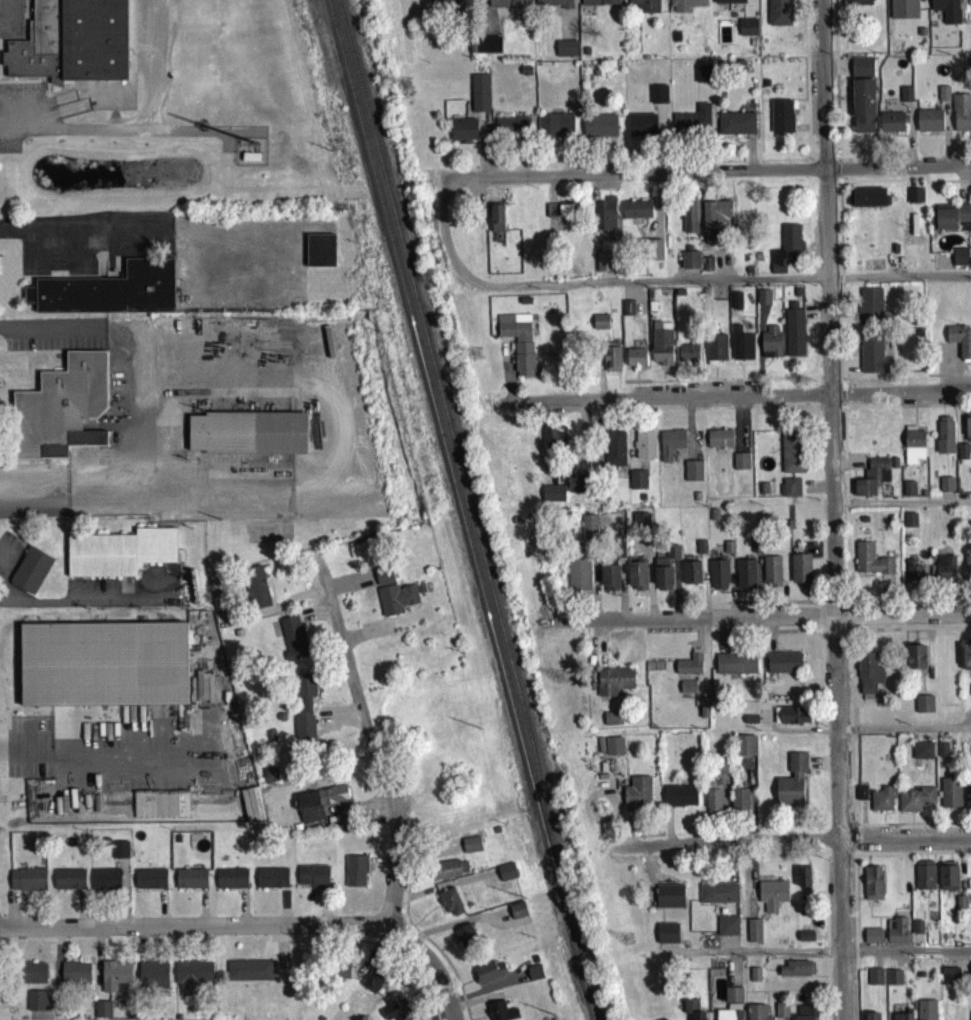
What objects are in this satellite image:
building: (728, 3)
building: (599, 4)
building: (856, 4)
building: (442, 5)
building: (553, 5)
building: (508, 6)
building: (645, 7)
building: (685, 7)
building: (903, 11)
building: (945, 12)
building: (778, 15)
road: (7, 17)
parking lot: (11, 20)
building: (747, 31)
building: (73, 45)
building: (488, 49)
building: (566, 53)
road: (157, 68)
building: (861, 70)
building: (703, 78)
power tower: (408, 81)
road: (835, 82)
road: (806, 84)
building: (479, 98)
building: (658, 98)
building: (905, 98)
building: (943, 98)
road: (54, 106)
building: (863, 111)
road: (16, 113)
building: (961, 117)
parking lot: (25, 120)
building: (781, 121)
building: (692, 125)
building: (928, 125)
building: (891, 126)
building: (735, 127)
road: (132, 128)
building: (553, 129)
building: (642, 129)
building: (511, 130)
building: (599, 130)
road: (132, 133)
building: (463, 134)
road: (173, 137)
power substation: (248, 155)
road: (824, 161)
road: (837, 162)
road: (264, 171)
road: (837, 174)
road: (712, 175)
road: (904, 182)
building: (914, 199)
building: (869, 201)
building: (636, 213)
building: (562, 217)
building: (605, 218)
building: (689, 220)
building: (717, 221)
building: (497, 222)
building: (952, 222)
road: (80, 232)
parking lot: (86, 245)
building: (786, 253)
building: (653, 254)
building: (320, 255)
building: (960, 261)
building: (690, 264)
building: (604, 265)
road: (59, 268)
road: (839, 275)
road: (898, 281)
road: (588, 287)
building: (109, 296)
building: (763, 301)
building: (736, 305)
building: (870, 309)
building: (628, 312)
building: (600, 326)
road: (49, 329)
building: (794, 336)
parking lot: (54, 339)
building: (518, 344)
building: (960, 344)
road: (57, 345)
building: (770, 345)
building: (661, 347)
building: (741, 348)
power tower: (479, 351)
building: (715, 351)
building: (688, 357)
building: (873, 359)
building: (612, 361)
building: (635, 362)
road: (598, 368)
road: (843, 370)
road: (952, 371)
road: (602, 379)
road: (610, 379)
road: (319, 380)
road: (948, 380)
road: (824, 383)
road: (721, 384)
road: (617, 385)
road: (619, 387)
road: (617, 396)
road: (617, 400)
road: (737, 400)
road: (842, 402)
road: (906, 410)
building: (60, 413)
railway: (450, 423)
building: (967, 431)
building: (248, 438)
building: (944, 439)
building: (555, 441)
building: (719, 443)
building: (670, 447)
building: (644, 449)
building: (913, 449)
building: (614, 453)
building: (791, 456)
building: (962, 456)
building: (740, 465)
building: (692, 475)
building: (872, 481)
building: (637, 484)
building: (580, 488)
building: (945, 489)
building: (790, 492)
building: (909, 493)
road: (79, 495)
building: (552, 497)
road: (845, 507)
road: (900, 507)
railway: (462, 509)
road: (831, 510)
building: (909, 524)
building: (640, 525)
building: (589, 531)
building: (755, 549)
building: (619, 551)
building: (701, 551)
building: (728, 552)
building: (355, 556)
building: (119, 557)
building: (870, 564)
parking lot: (10, 567)
building: (944, 571)
building: (966, 571)
building: (31, 574)
building: (665, 574)
building: (800, 574)
building: (911, 574)
building: (771, 575)
building: (691, 577)
building: (745, 578)
building: (383, 579)
building: (578, 579)
building: (719, 579)
building: (637, 580)
building: (609, 581)
road: (3, 586)
road: (350, 586)
parking lot: (128, 592)
building: (256, 592)
road: (705, 592)
building: (394, 603)
road: (87, 604)
road: (290, 604)
road: (906, 604)
road: (831, 606)
road: (765, 607)
road: (818, 607)
road: (707, 608)
road: (314, 618)
road: (758, 621)
road: (847, 621)
road: (814, 622)
road: (907, 633)
road: (814, 634)
road: (760, 636)
road: (832, 636)
road: (365, 637)
building: (292, 643)
road: (702, 660)
building: (915, 661)
building: (966, 661)
building: (783, 667)
building: (735, 668)
building: (103, 669)
building: (688, 669)
power tower: (562, 675)
building: (868, 680)
building: (613, 685)
building: (687, 691)
building: (207, 692)
building: (923, 708)
building: (304, 714)
road: (344, 718)
building: (791, 719)
building: (611, 722)
road: (849, 733)
road: (903, 733)
building: (610, 750)
building: (745, 750)
building: (942, 754)
building: (922, 755)
parking lot: (130, 757)
road: (114, 758)
building: (721, 769)
building: (270, 779)
building: (792, 784)
parking lot: (2, 789)
building: (637, 796)
building: (861, 797)
building: (950, 797)
road: (388, 800)
building: (679, 800)
building: (968, 801)
building: (882, 803)
building: (739, 804)
building: (915, 804)
building: (713, 805)
building: (318, 807)
building: (171, 809)
building: (252, 809)
road: (364, 815)
road: (908, 829)
road: (852, 845)
road: (798, 846)
building: (470, 848)
building: (119, 854)
road: (428, 854)
road: (910, 858)
road: (839, 859)
road: (780, 860)
road: (380, 864)
road: (731, 868)
building: (444, 873)
building: (354, 874)
building: (505, 876)
building: (312, 880)
building: (924, 880)
building: (271, 882)
building: (803, 882)
building: (948, 882)
building: (106, 883)
building: (149, 883)
building: (231, 883)
building: (28, 884)
building: (68, 884)
building: (190, 884)
building: (872, 887)
road: (442, 890)
road: (125, 898)
building: (718, 898)
road: (432, 899)
building: (772, 899)
building: (669, 900)
building: (450, 906)
road: (283, 912)
road: (325, 912)
road: (161, 913)
road: (202, 913)
road: (243, 913)
building: (517, 915)
road: (12, 916)
road: (84, 916)
road: (424, 918)
road: (456, 928)
building: (727, 930)
road: (191, 933)
building: (753, 935)
building: (897, 935)
road: (451, 937)
building: (668, 937)
road: (854, 937)
power tower: (628, 939)
road: (825, 939)
building: (805, 940)
building: (872, 940)
building: (465, 942)
road: (426, 946)
road: (141, 948)
road: (180, 948)
road: (280, 949)
road: (450, 949)
road: (438, 955)
road: (815, 956)
road: (370, 959)
road: (57, 963)
road: (407, 969)
road: (98, 970)
building: (796, 973)
building: (970, 973)
building: (249, 974)
building: (339, 974)
building: (75, 976)
building: (488, 976)
building: (31, 977)
building: (533, 977)
building: (754, 978)
building: (949, 979)
building: (113, 980)
building: (153, 980)
building: (191, 981)
building: (875, 981)
building: (893, 981)
building: (373, 984)
road: (466, 986)
road: (476, 989)
road: (486, 993)
building: (38, 1005)
road: (472, 1005)
road: (13, 1006)
building: (731, 1007)
building: (396, 1010)
building: (690, 1011)
road: (483, 1012)
building: (926, 1012)
building: (102, 1013)
building: (499, 1013)
building: (781, 1013)
building: (756, 1014)
building: (806, 1015)
road: (443, 1017)
building: (970, 1017)
building: (872, 1018)
building: (902, 1018)

